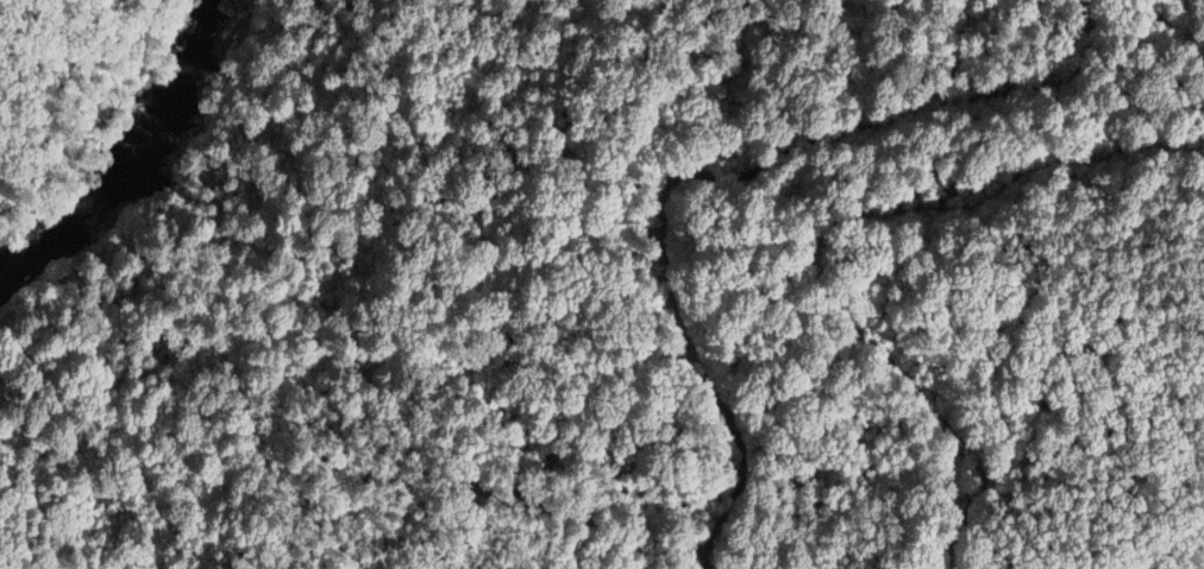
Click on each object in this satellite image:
river: (140, 157)

